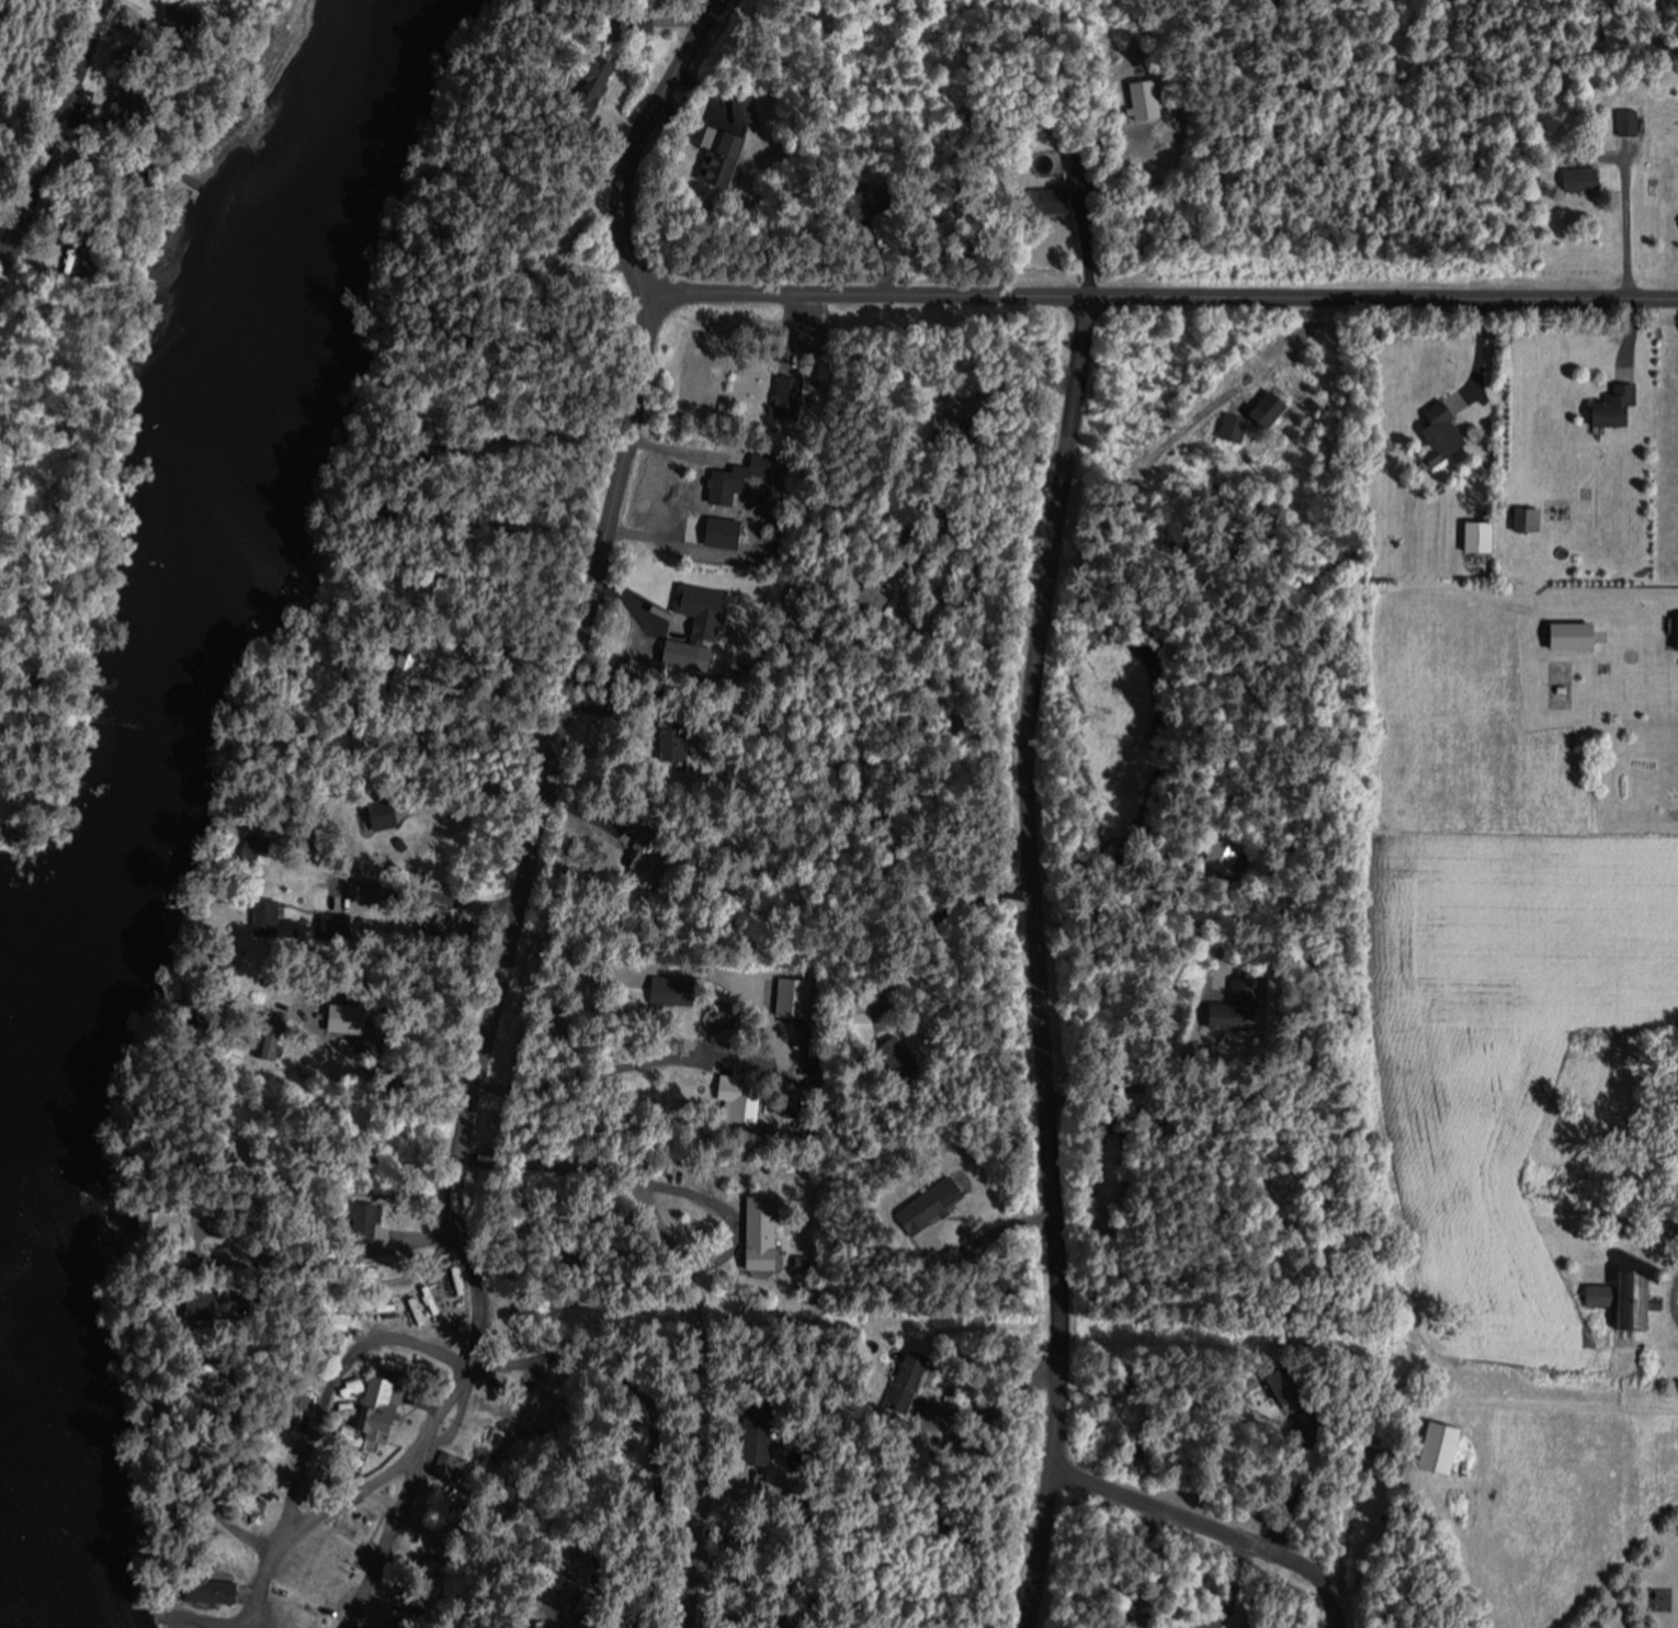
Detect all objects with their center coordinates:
building: (583, 80)
building: (1140, 99)
building: (737, 109)
building: (1624, 122)
road: (57, 139)
building: (713, 161)
building: (1575, 179)
building: (1040, 201)
road: (1158, 293)
building: (782, 397)
building: (1608, 405)
building: (1435, 431)
building: (726, 486)
building: (1521, 518)
building: (1474, 535)
building: (872, 597)
building: (1673, 631)
road: (549, 814)
road: (416, 898)
building: (269, 914)
road: (1039, 960)
building: (1229, 1005)
building: (864, 1011)
building: (766, 1234)
building: (1623, 1295)
building: (915, 1377)
building: (1432, 1446)
road: (309, 1517)
road: (1216, 1528)
building: (216, 1590)

